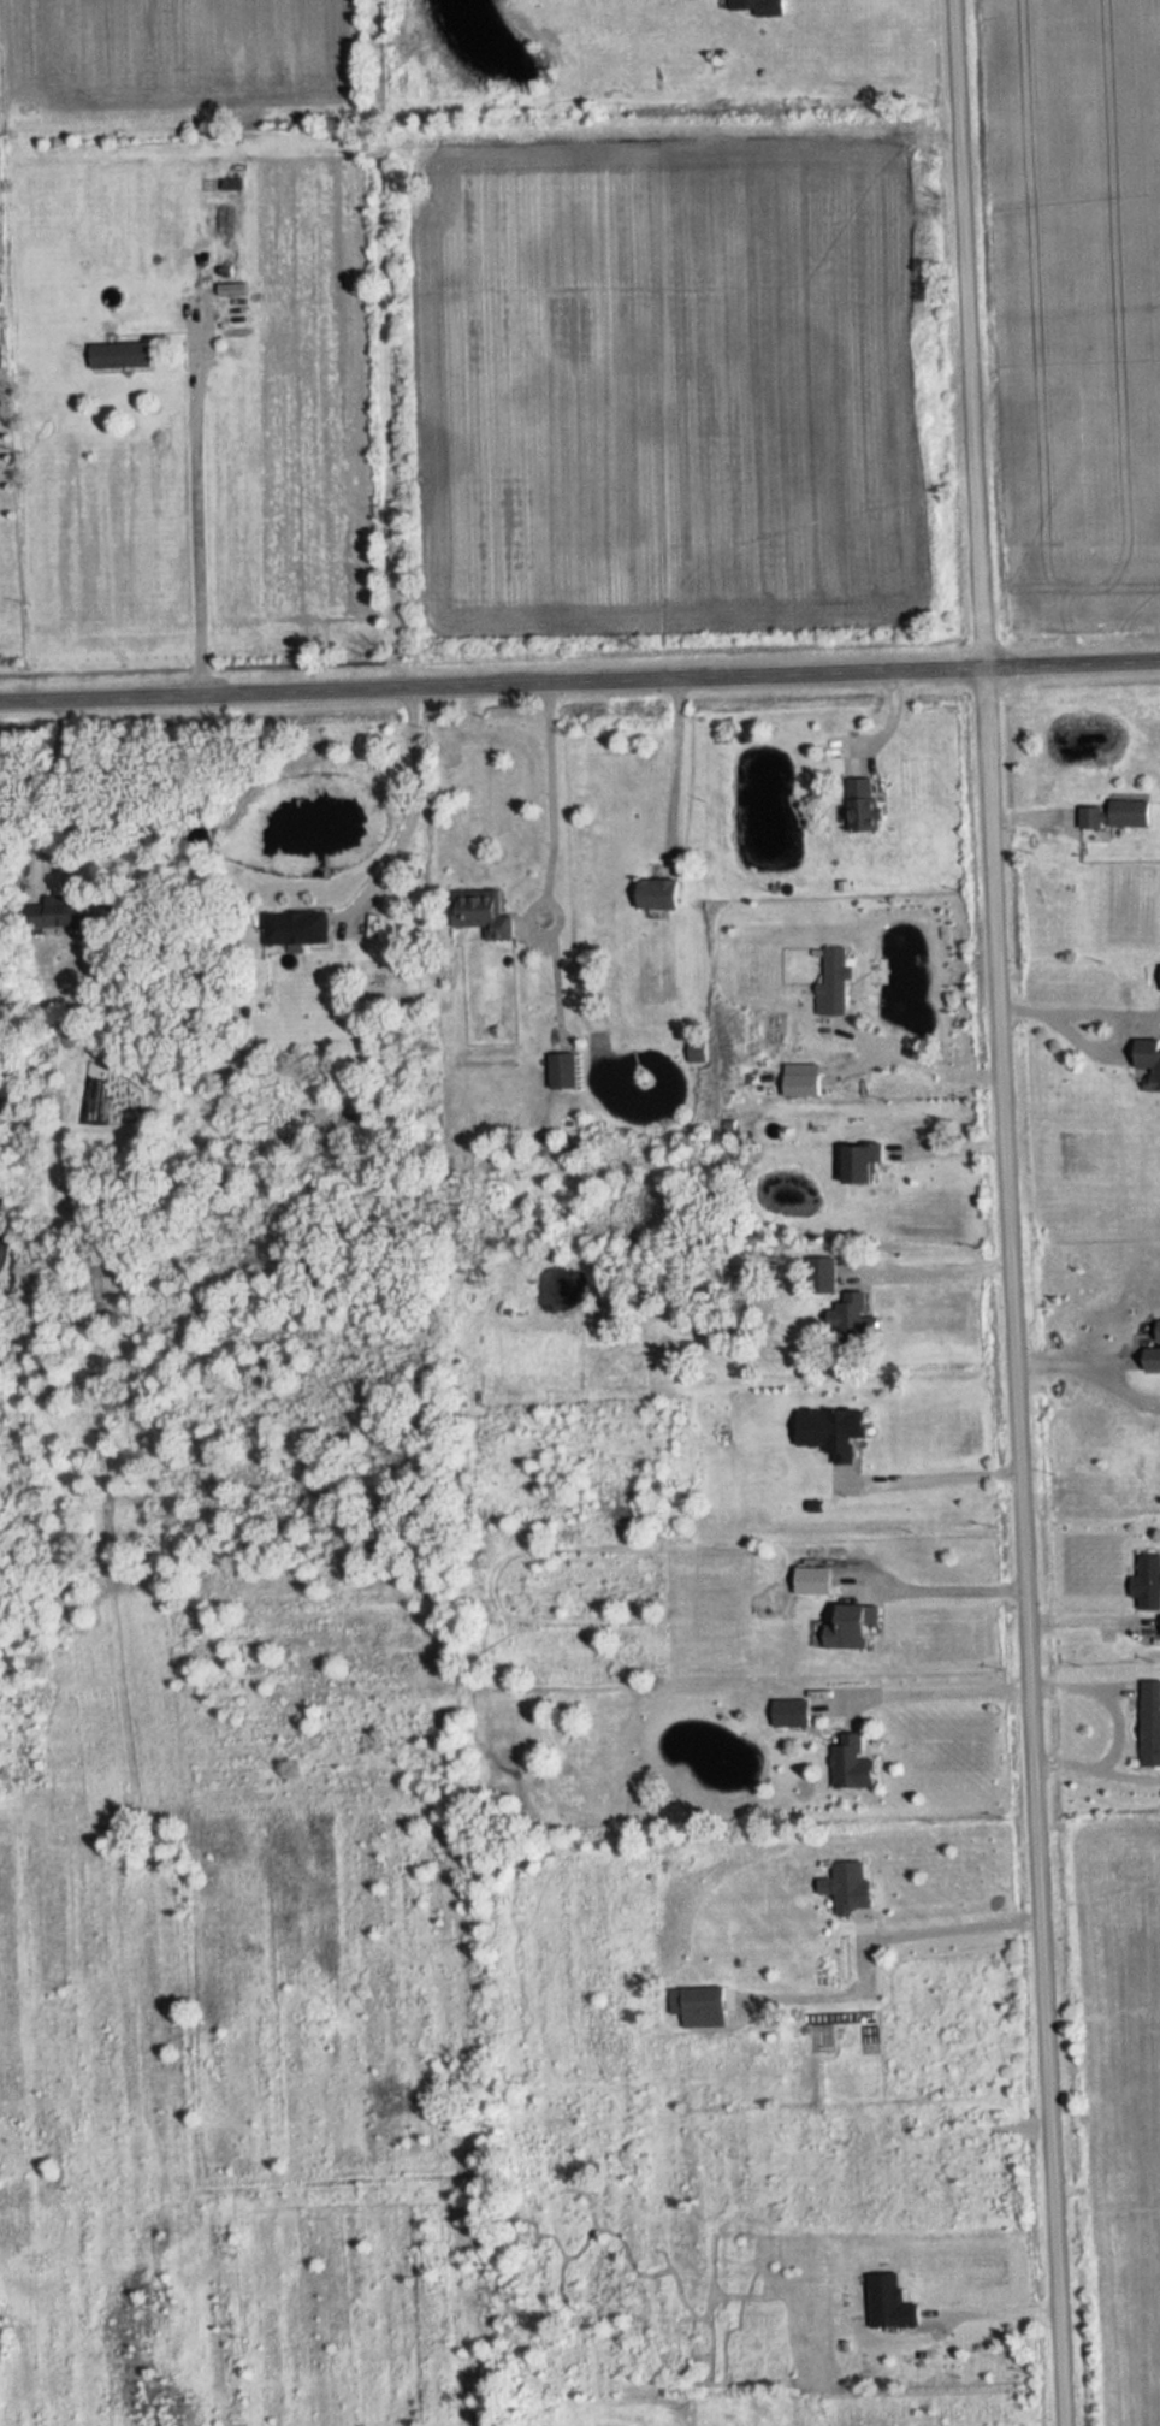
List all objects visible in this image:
building: (762, 7)
building: (123, 356)
road: (196, 516)
road: (580, 684)
road: (674, 774)
road: (43, 787)
road: (551, 801)
building: (865, 806)
road: (406, 810)
building: (1115, 815)
building: (661, 895)
building: (60, 912)
building: (484, 913)
building: (297, 928)
building: (835, 982)
road: (1119, 1022)
road: (917, 1059)
building: (1149, 1059)
building: (562, 1069)
building: (803, 1084)
building: (864, 1162)
road: (1007, 1213)
road: (937, 1261)
building: (824, 1274)
building: (853, 1320)
road: (1078, 1353)
building: (833, 1430)
road: (989, 1473)
road: (955, 1474)
road: (898, 1478)
building: (1149, 1580)
building: (813, 1581)
road: (952, 1581)
building: (853, 1627)
road: (928, 1681)
building: (792, 1712)
road: (1112, 1722)
building: (1150, 1723)
building: (853, 1764)
building: (853, 1884)
road: (876, 1929)
building: (704, 2000)
building: (886, 2300)
road: (1028, 2312)
road: (986, 2314)
road: (939, 2315)

